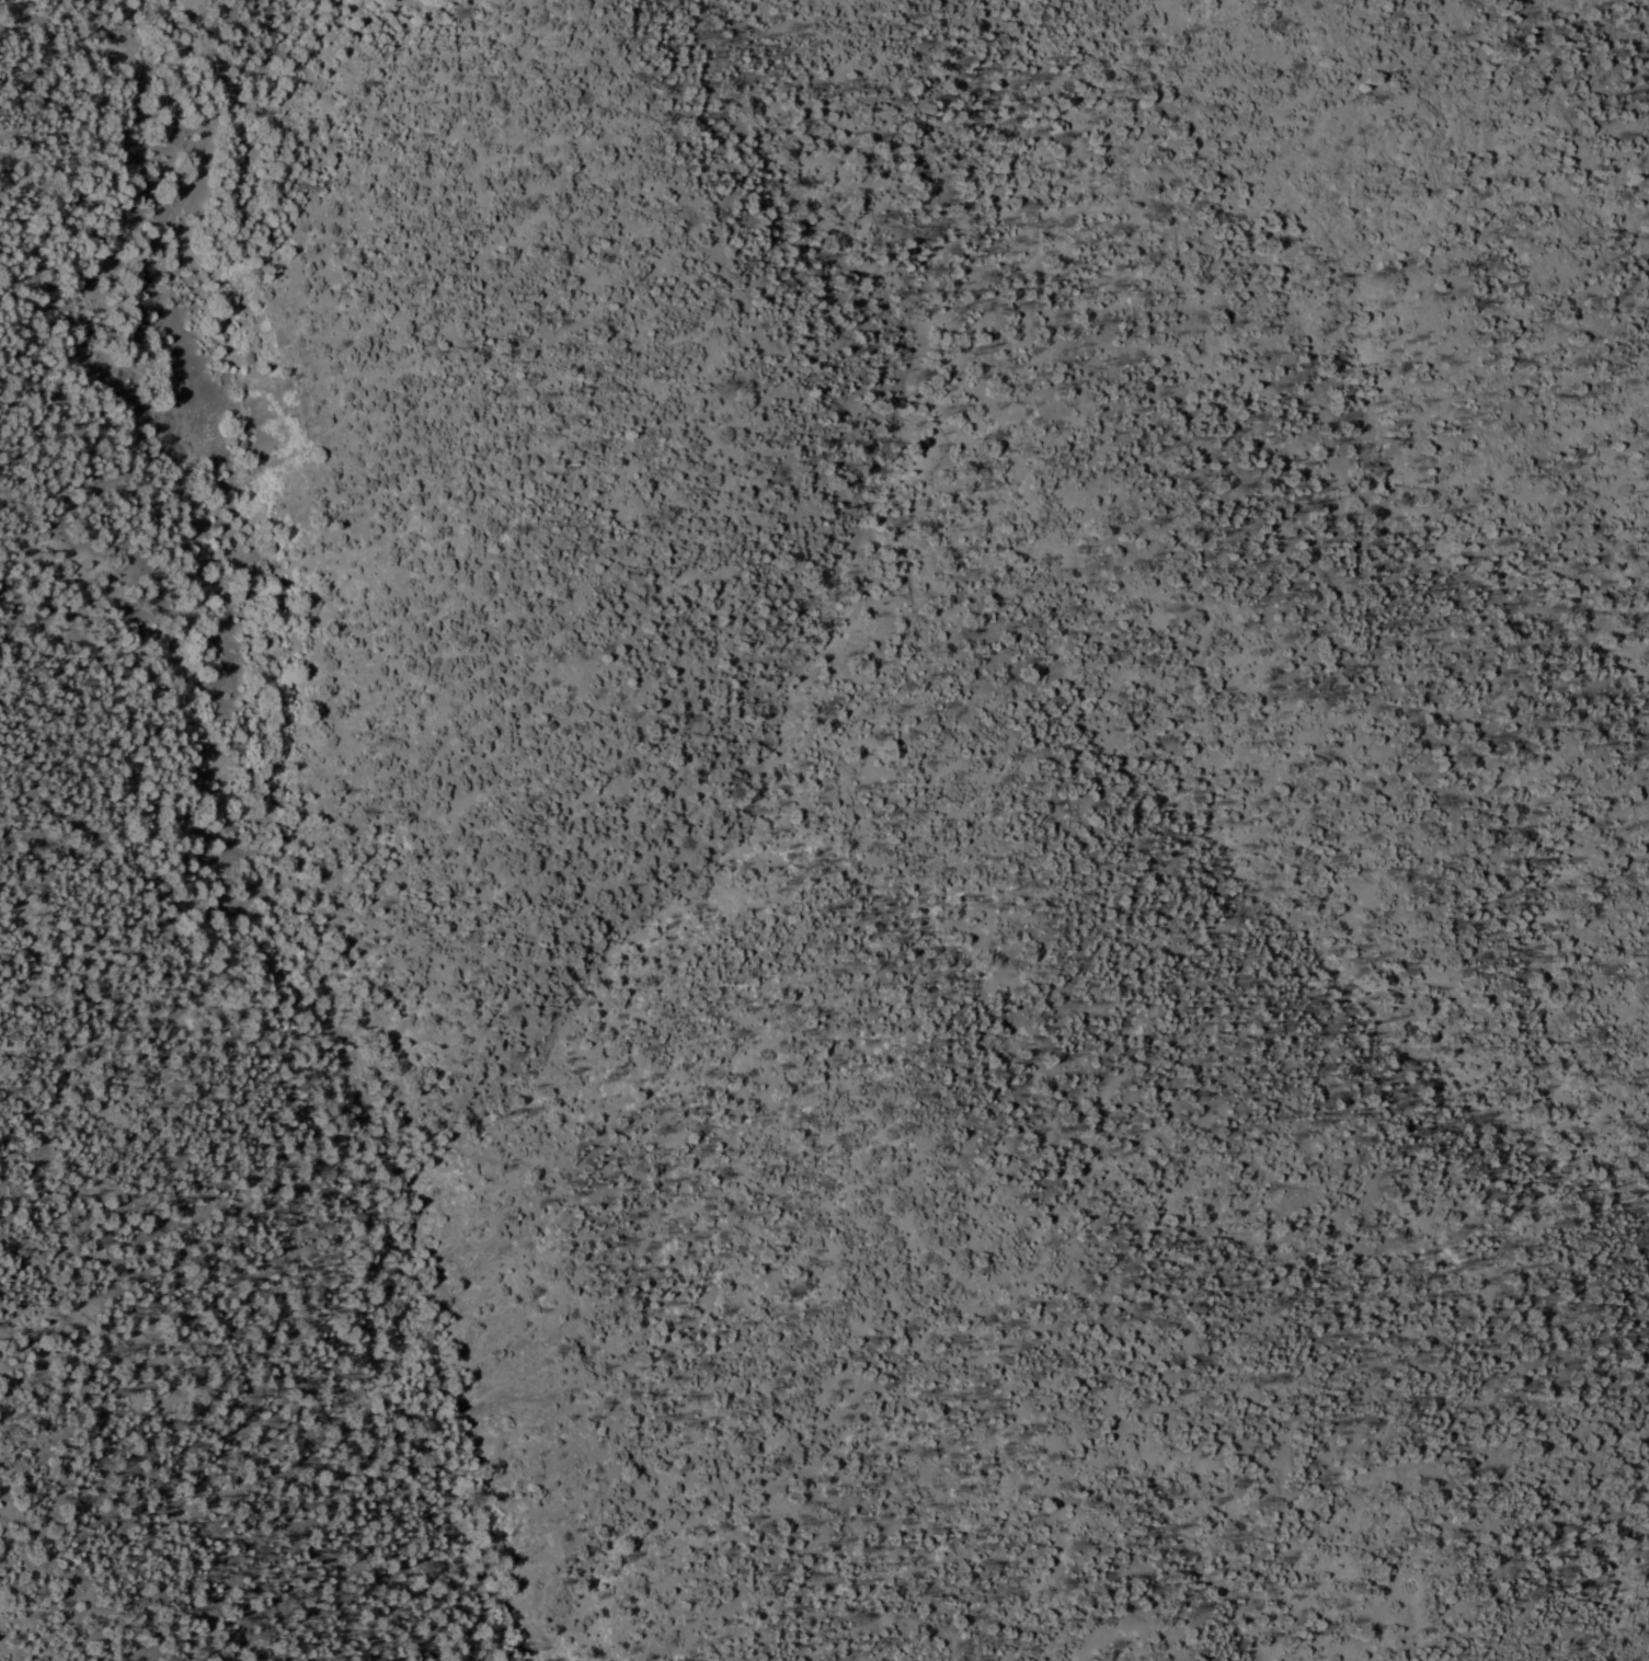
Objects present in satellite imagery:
road: (0, 1660)

